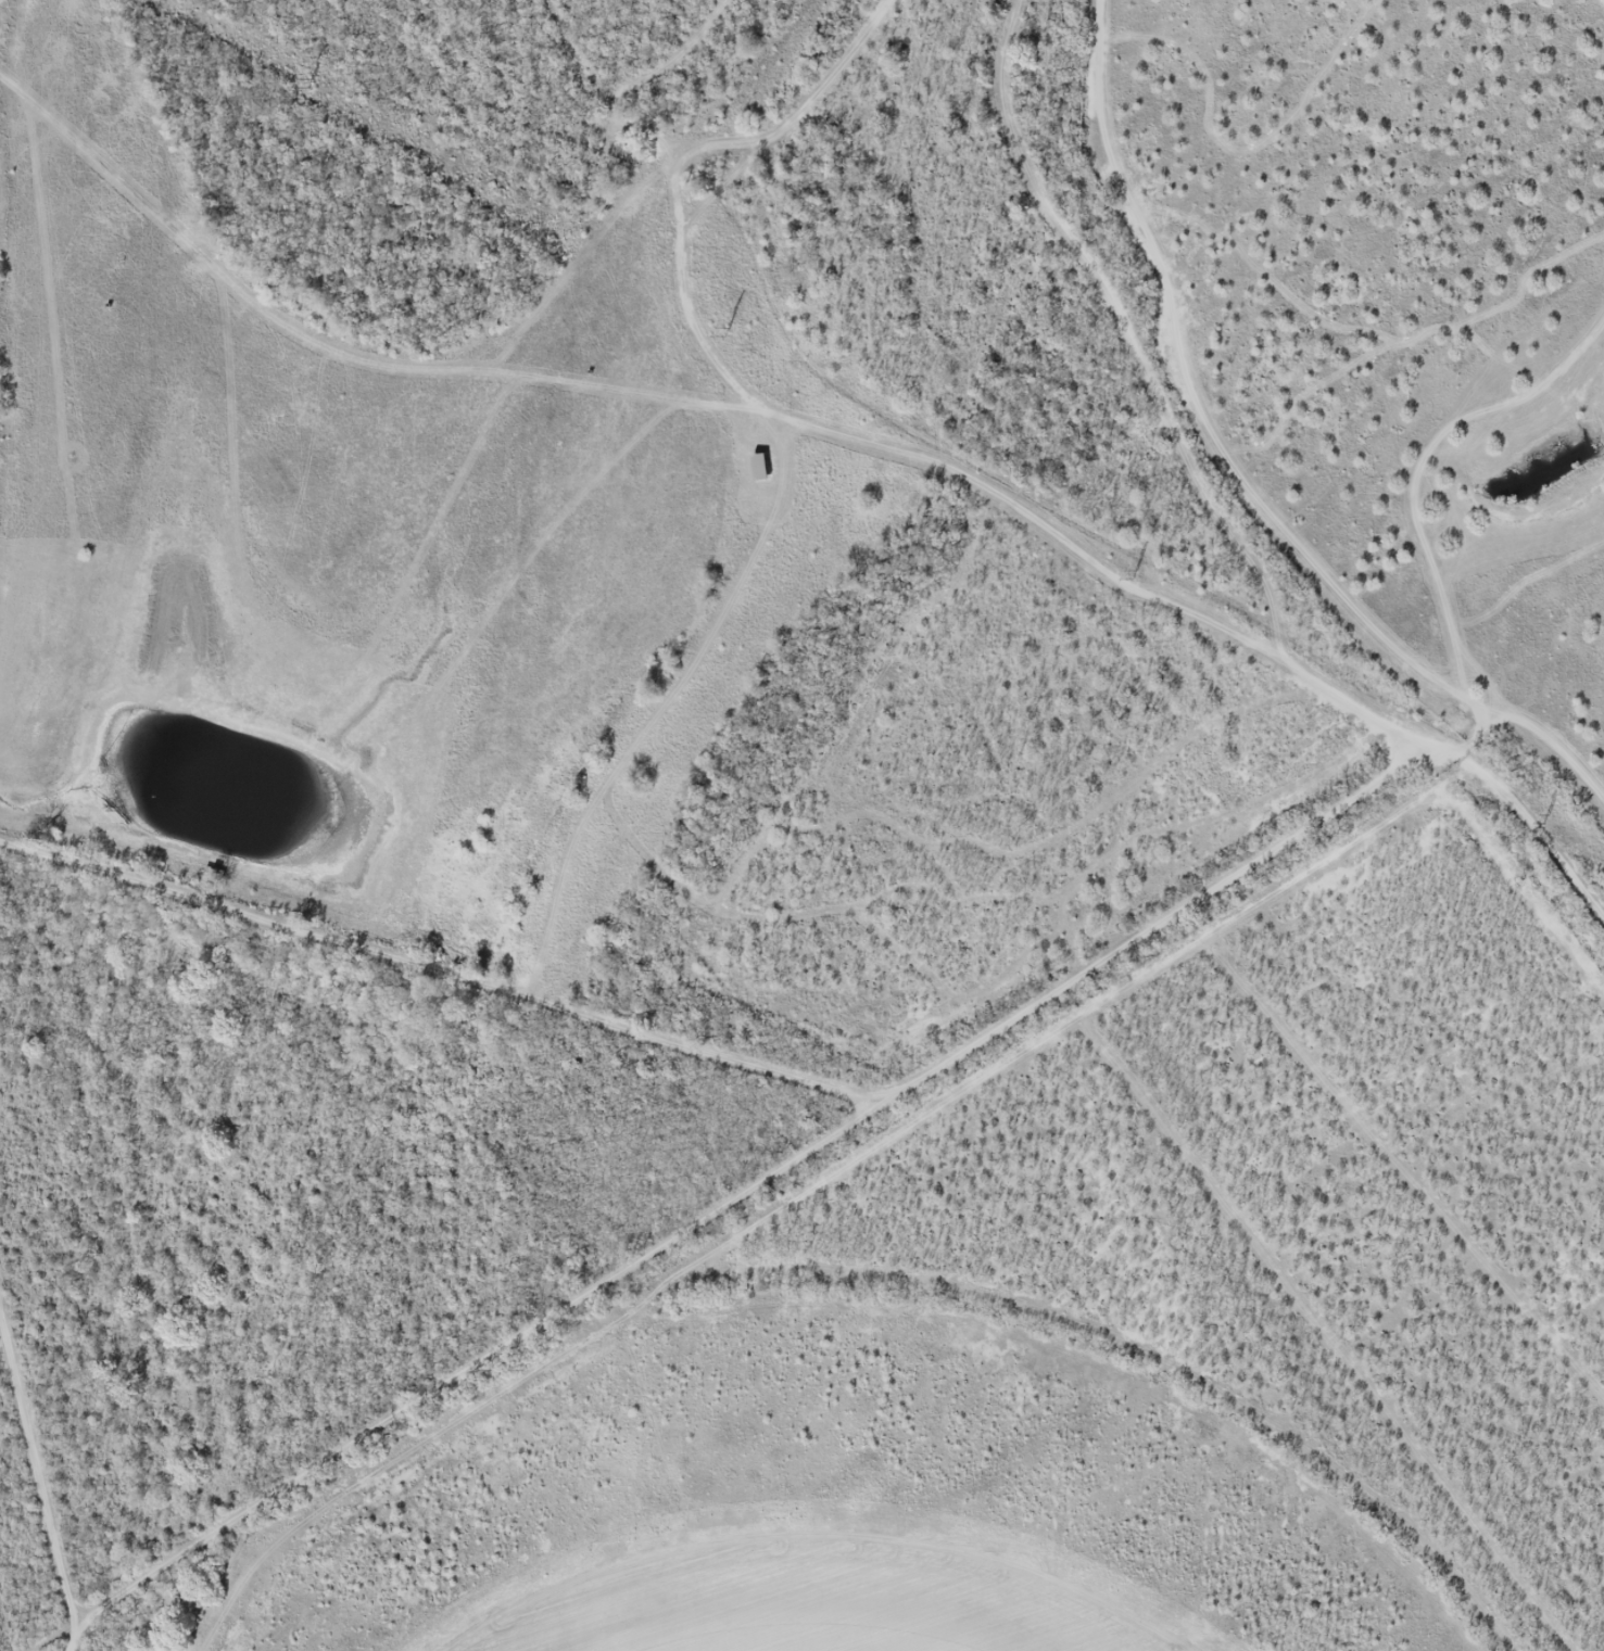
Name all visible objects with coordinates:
power tower: (307, 84)
power tower: (727, 332)
building: (760, 469)
road: (1223, 512)
power tower: (1134, 575)
power tower: (1545, 821)
road: (431, 981)
road: (752, 1212)

